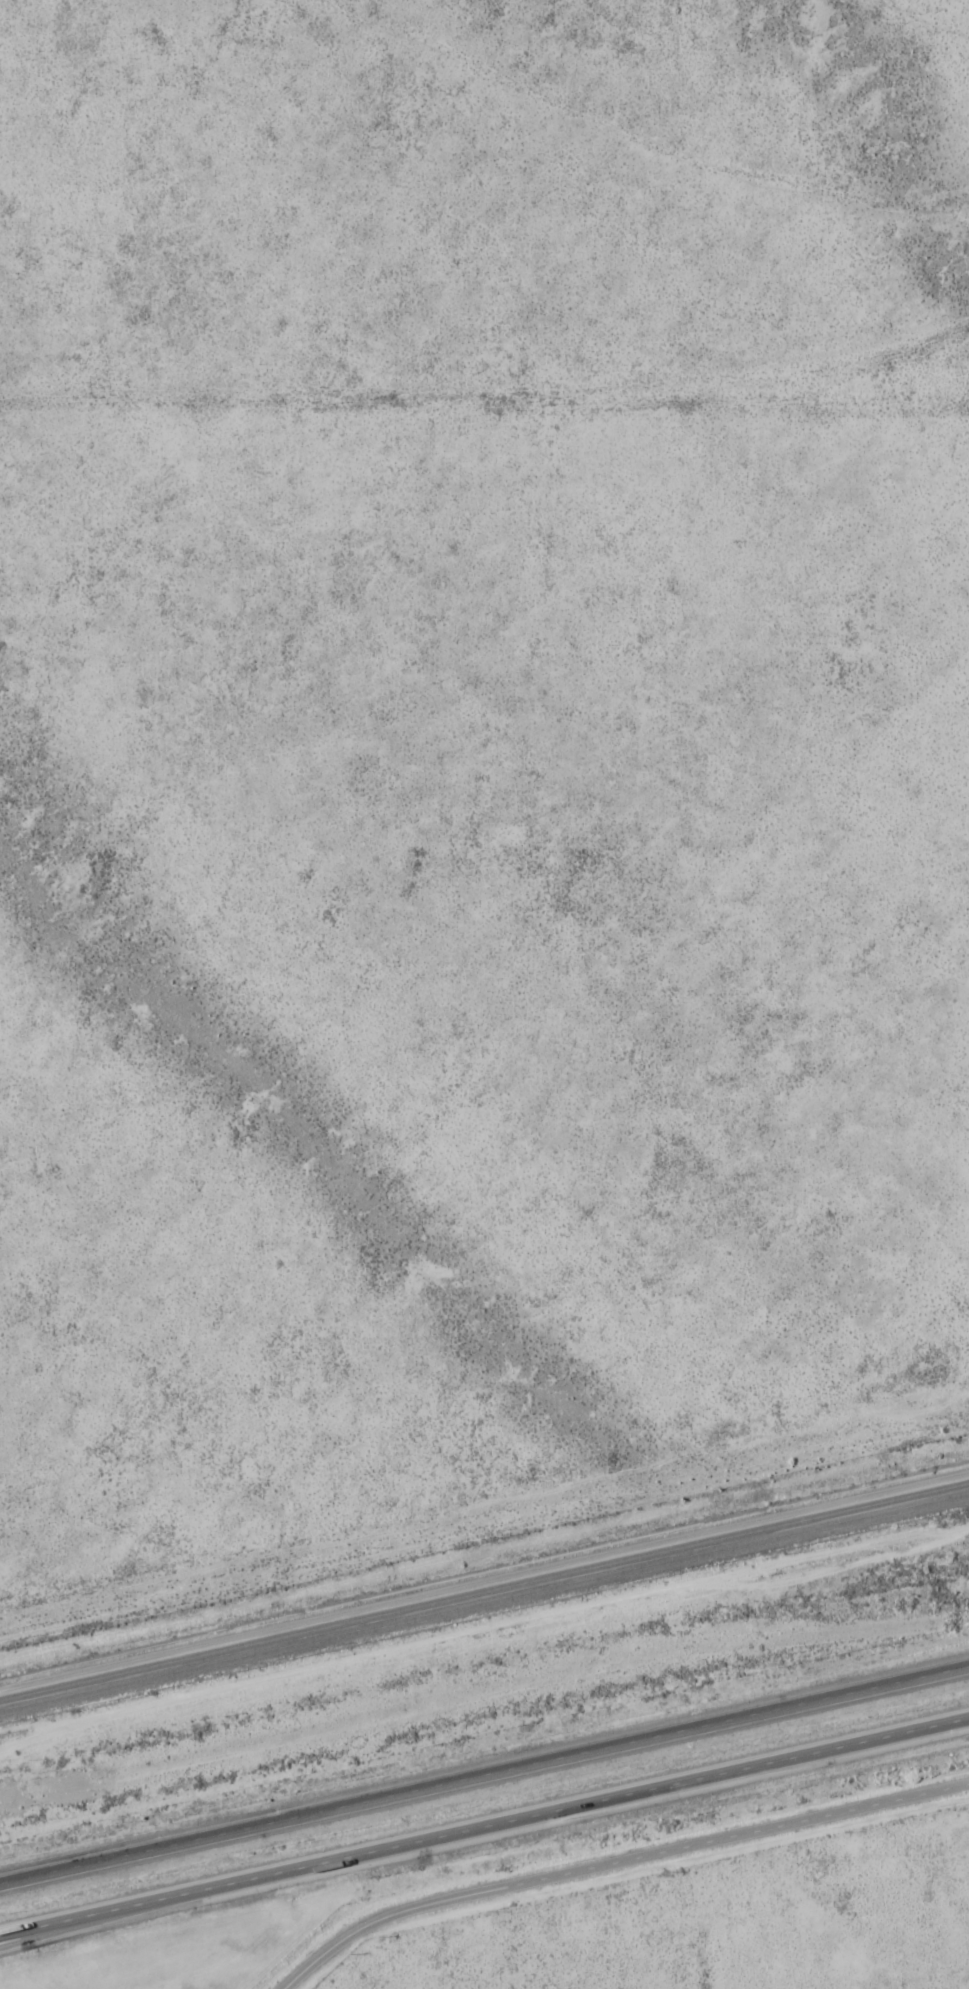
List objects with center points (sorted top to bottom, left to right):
railway: (484, 1589)
railway: (484, 1601)
road: (484, 1775)
road: (484, 1826)
road: (621, 1864)
road: (45, 1929)

